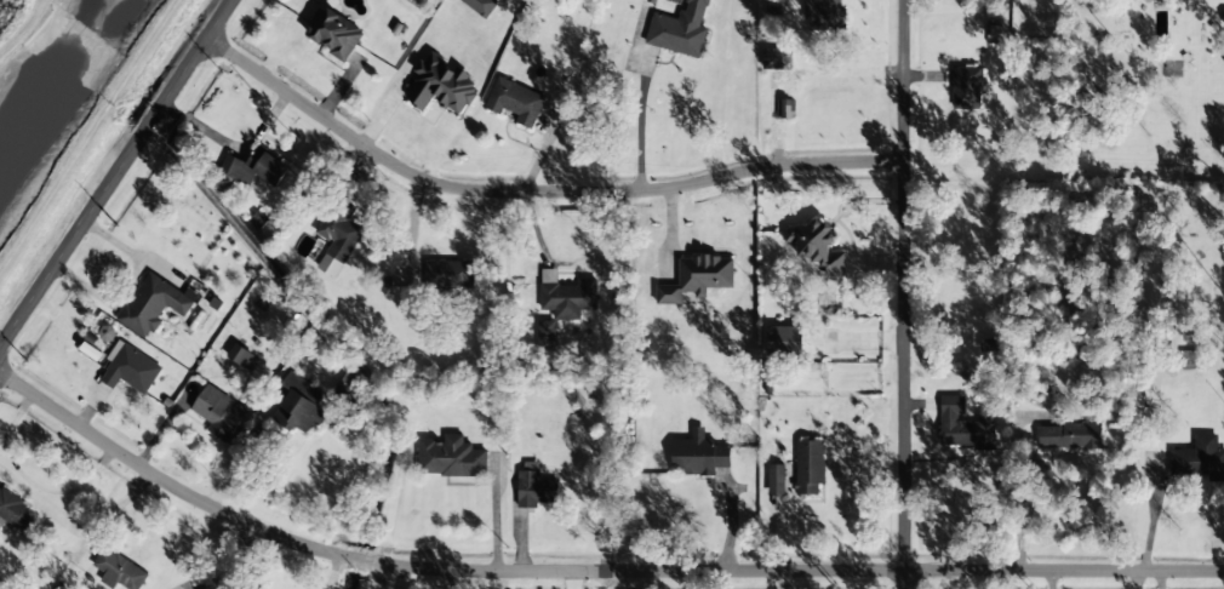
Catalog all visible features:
building: (481, 6)
building: (823, 15)
building: (1223, 17)
building: (680, 29)
building: (336, 35)
building: (777, 59)
building: (441, 85)
building: (967, 88)
building: (514, 102)
building: (787, 108)
building: (254, 167)
road: (118, 176)
road: (538, 188)
building: (337, 236)
building: (816, 246)
building: (447, 274)
building: (697, 278)
building: (565, 294)
road: (906, 294)
building: (153, 304)
building: (545, 336)
building: (785, 341)
building: (240, 356)
building: (1189, 359)
building: (131, 372)
building: (298, 406)
building: (218, 412)
building: (963, 425)
building: (1070, 436)
building: (699, 454)
building: (450, 457)
building: (1197, 458)
building: (810, 468)
building: (776, 479)
building: (533, 487)
building: (15, 509)
building: (118, 570)
road: (587, 570)

